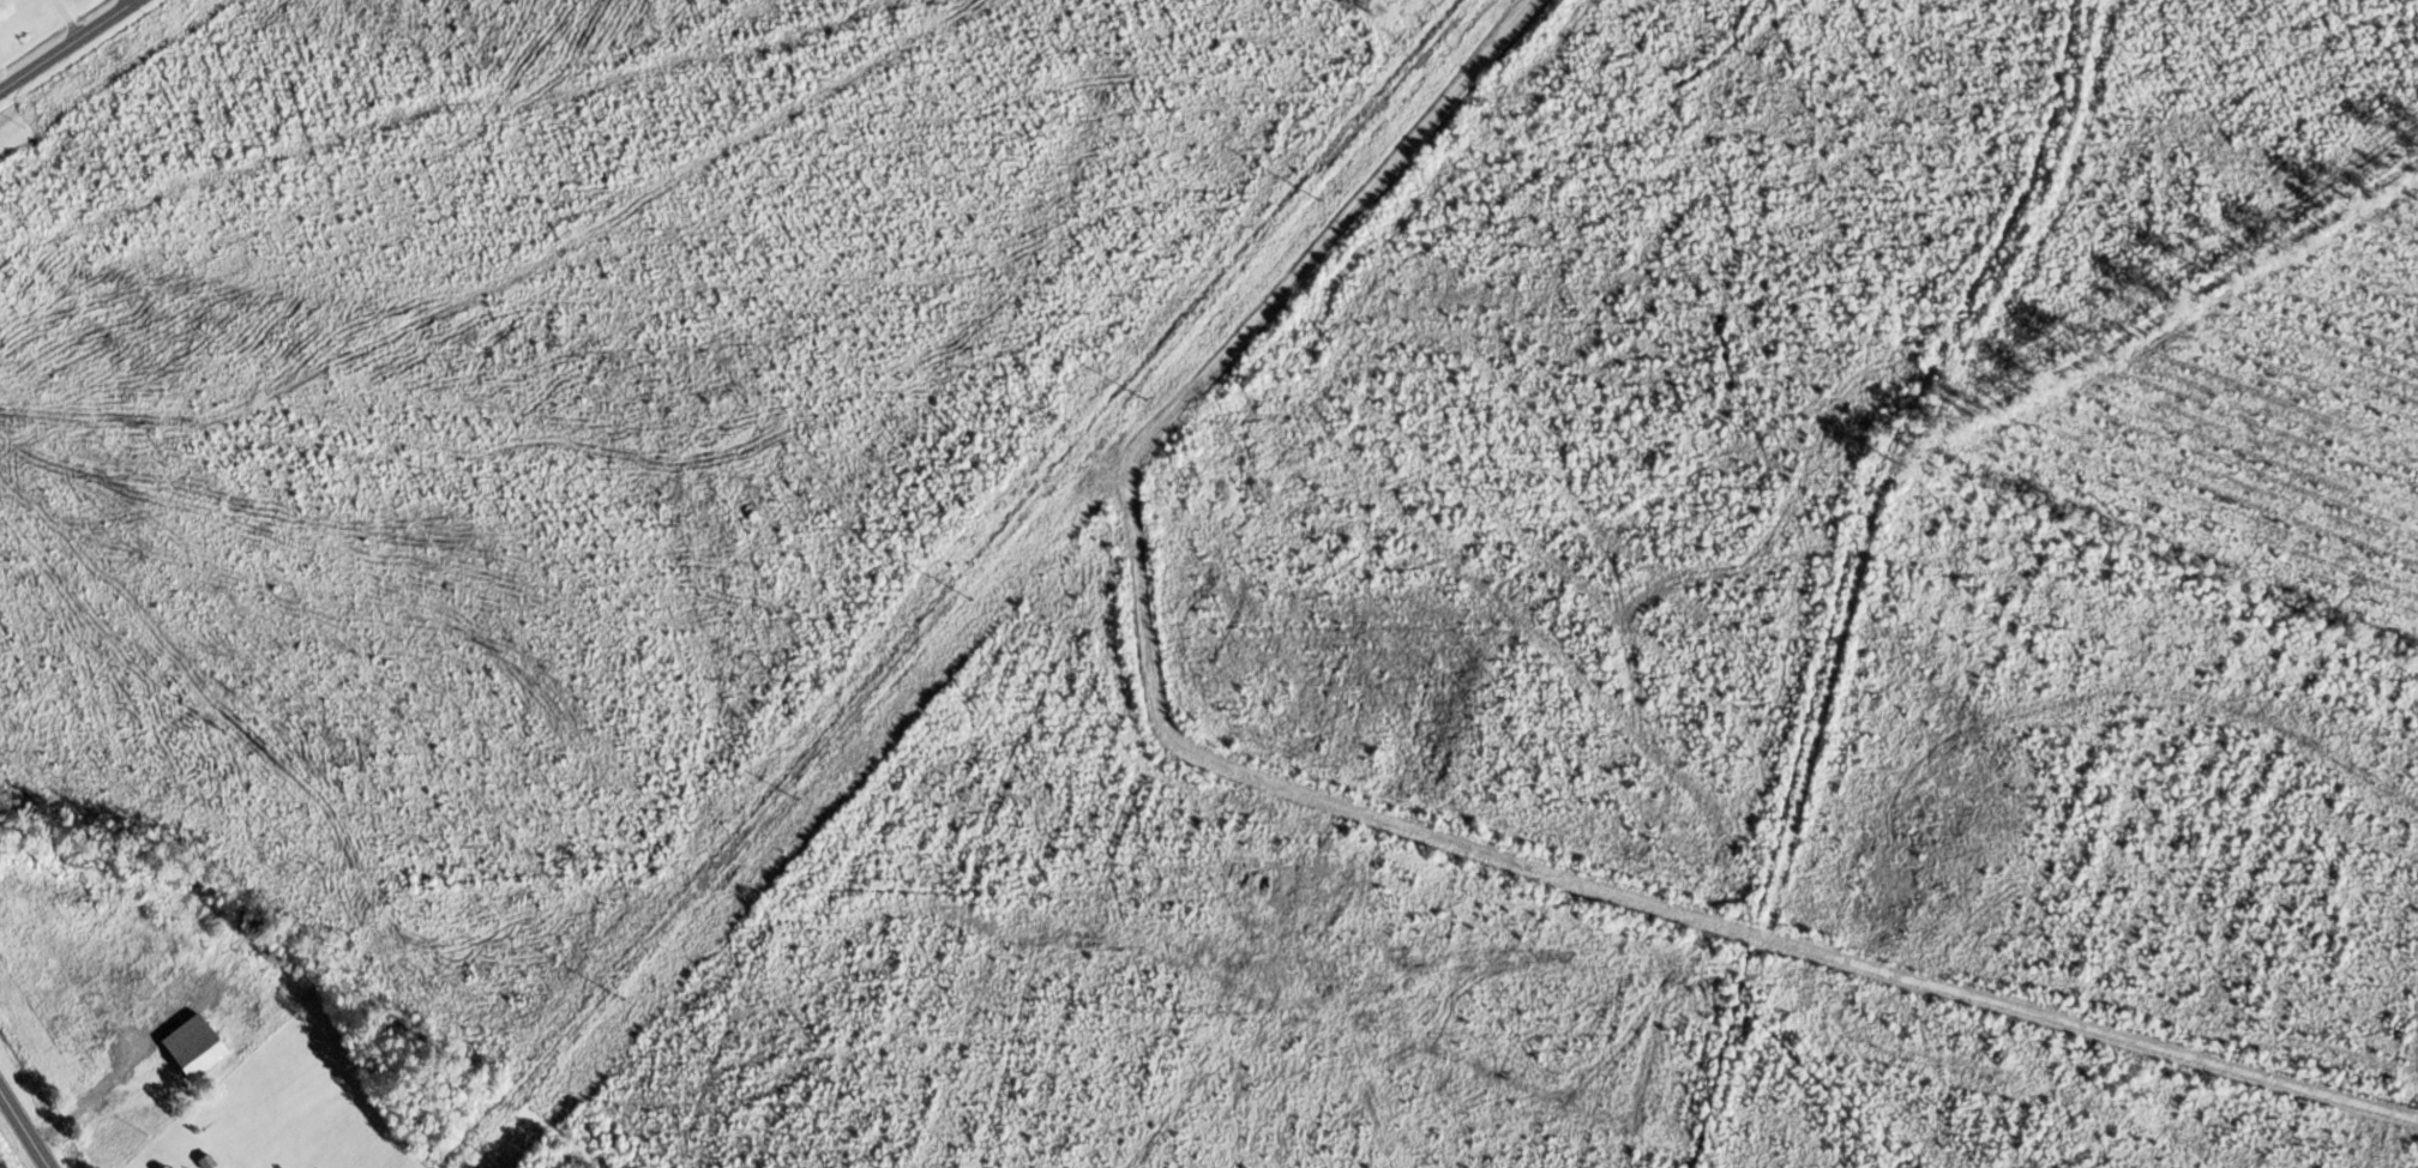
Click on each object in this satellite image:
road: (67, 46)
building: (52, 1024)
building: (196, 1047)
road: (23, 1130)

